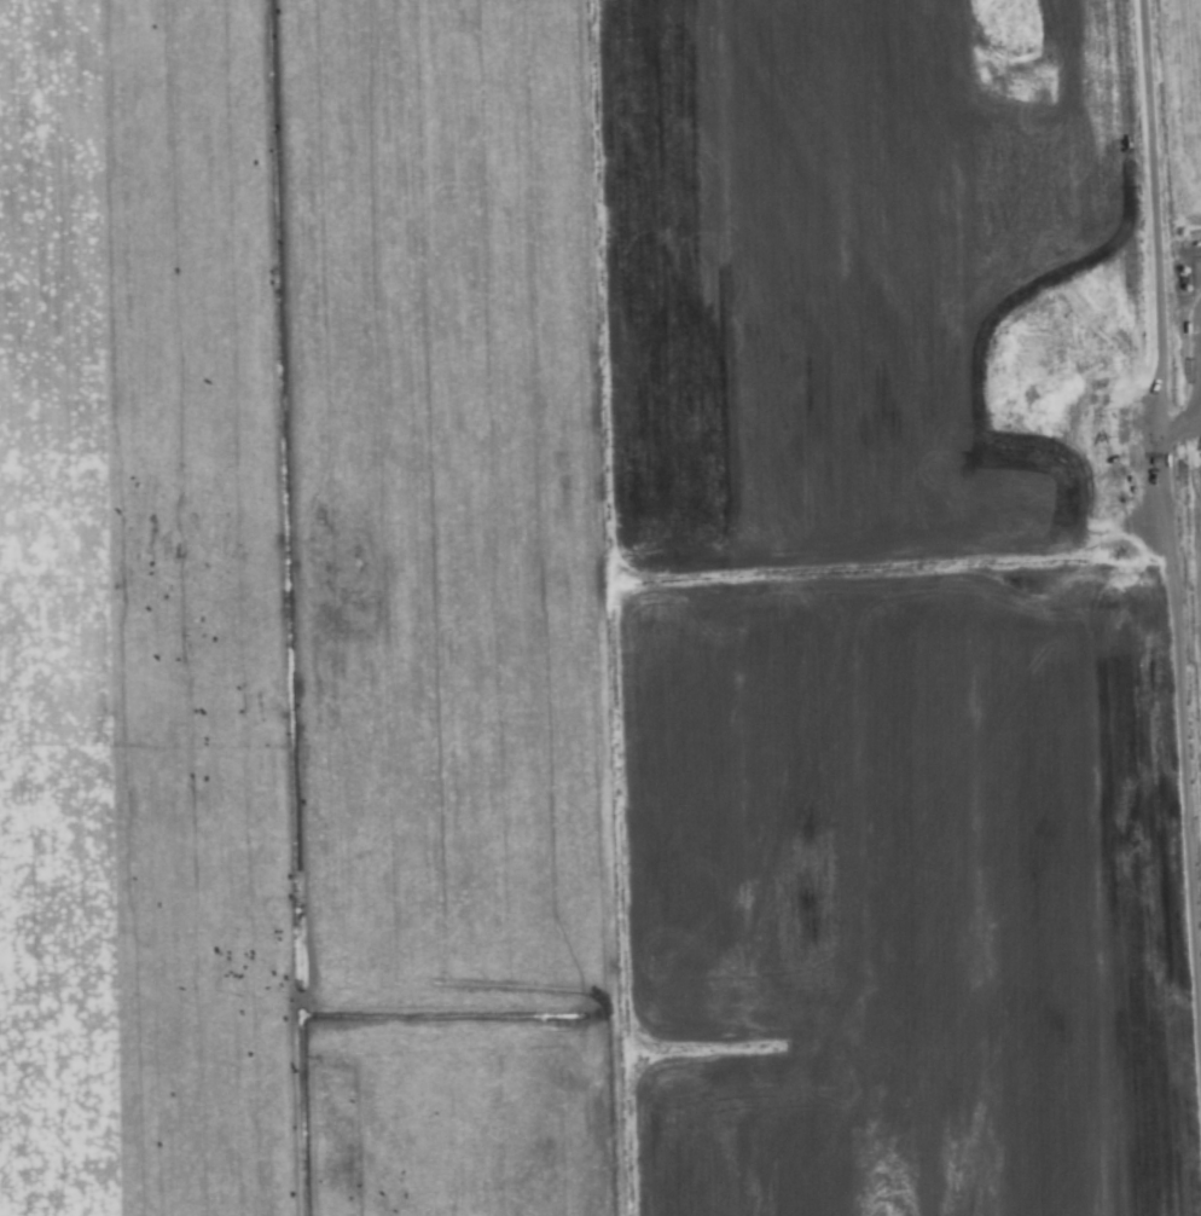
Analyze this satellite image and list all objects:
road: (1168, 533)
crop: (600, 608)

